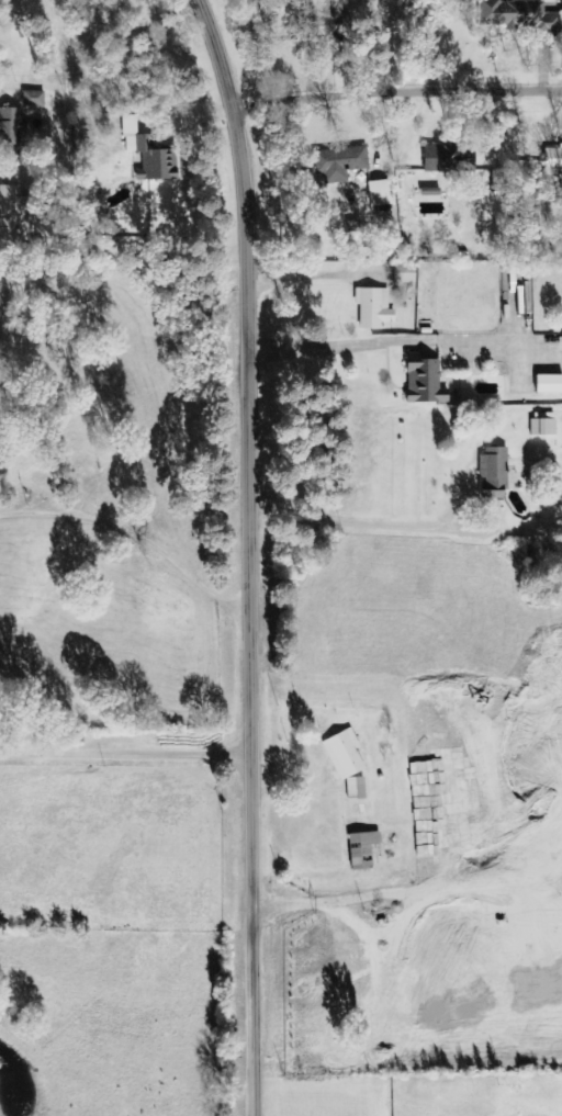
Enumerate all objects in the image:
building: (516, 14)
building: (335, 21)
road: (398, 97)
building: (34, 99)
building: (11, 133)
building: (151, 151)
building: (442, 157)
building: (553, 159)
building: (345, 162)
building: (381, 192)
building: (13, 213)
building: (404, 278)
building: (374, 307)
building: (425, 381)
building: (549, 383)
building: (543, 424)
building: (494, 473)
road: (250, 555)
road: (125, 611)
building: (345, 754)
building: (357, 788)
building: (363, 849)
road: (125, 899)
road: (126, 1111)

